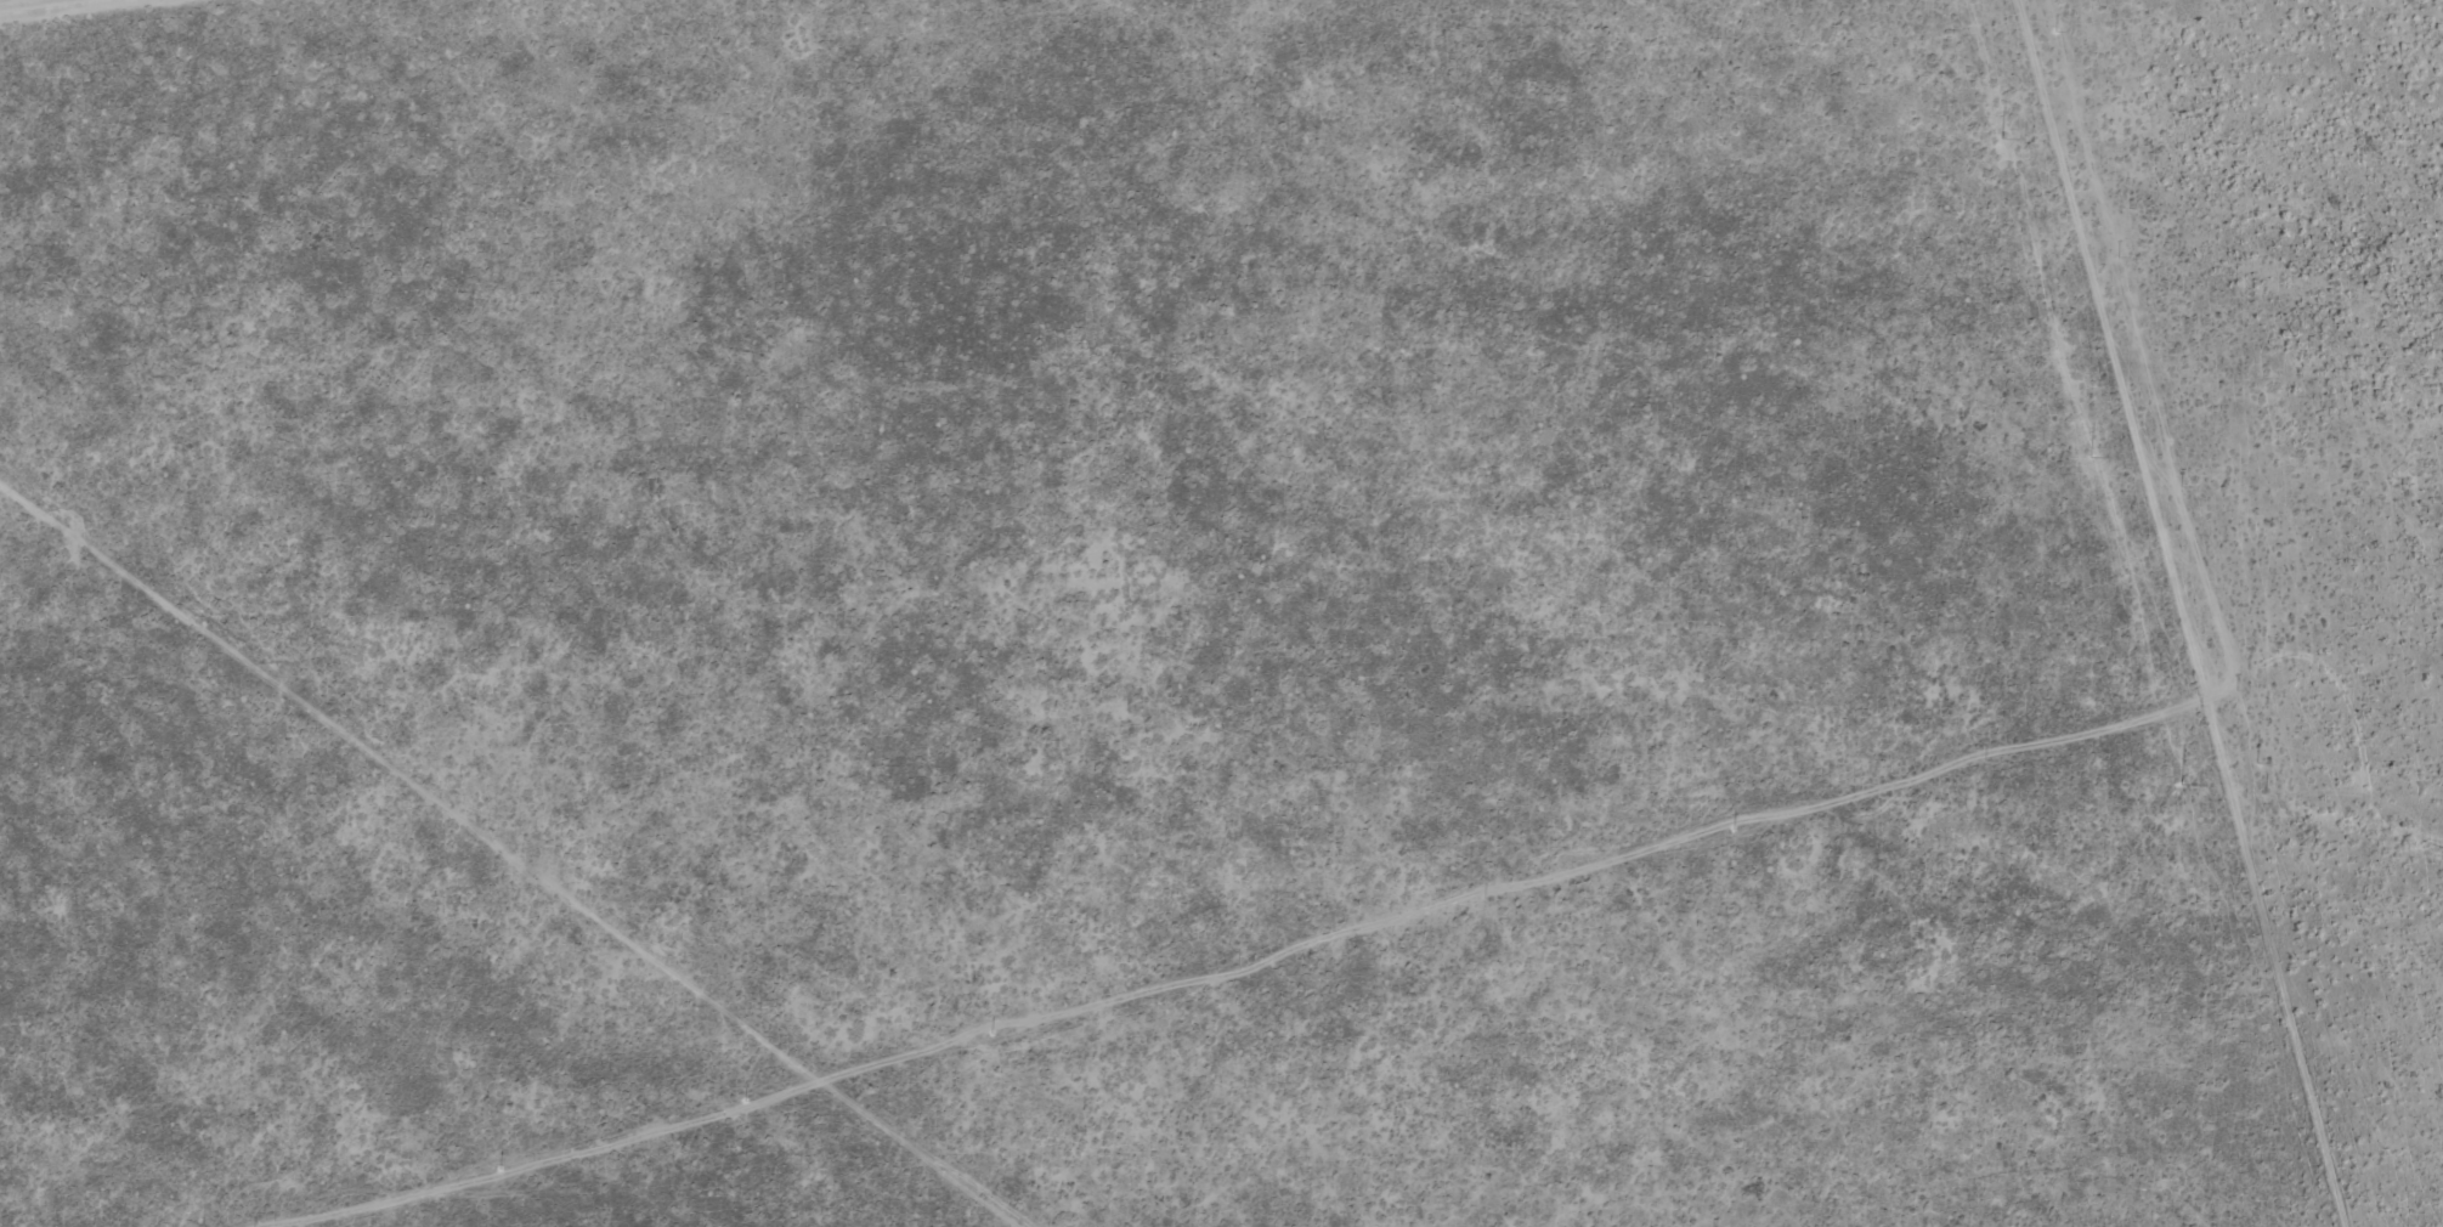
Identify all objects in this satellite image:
power tower: (2003, 138)
power tower: (2089, 457)
power tower: (2181, 786)

